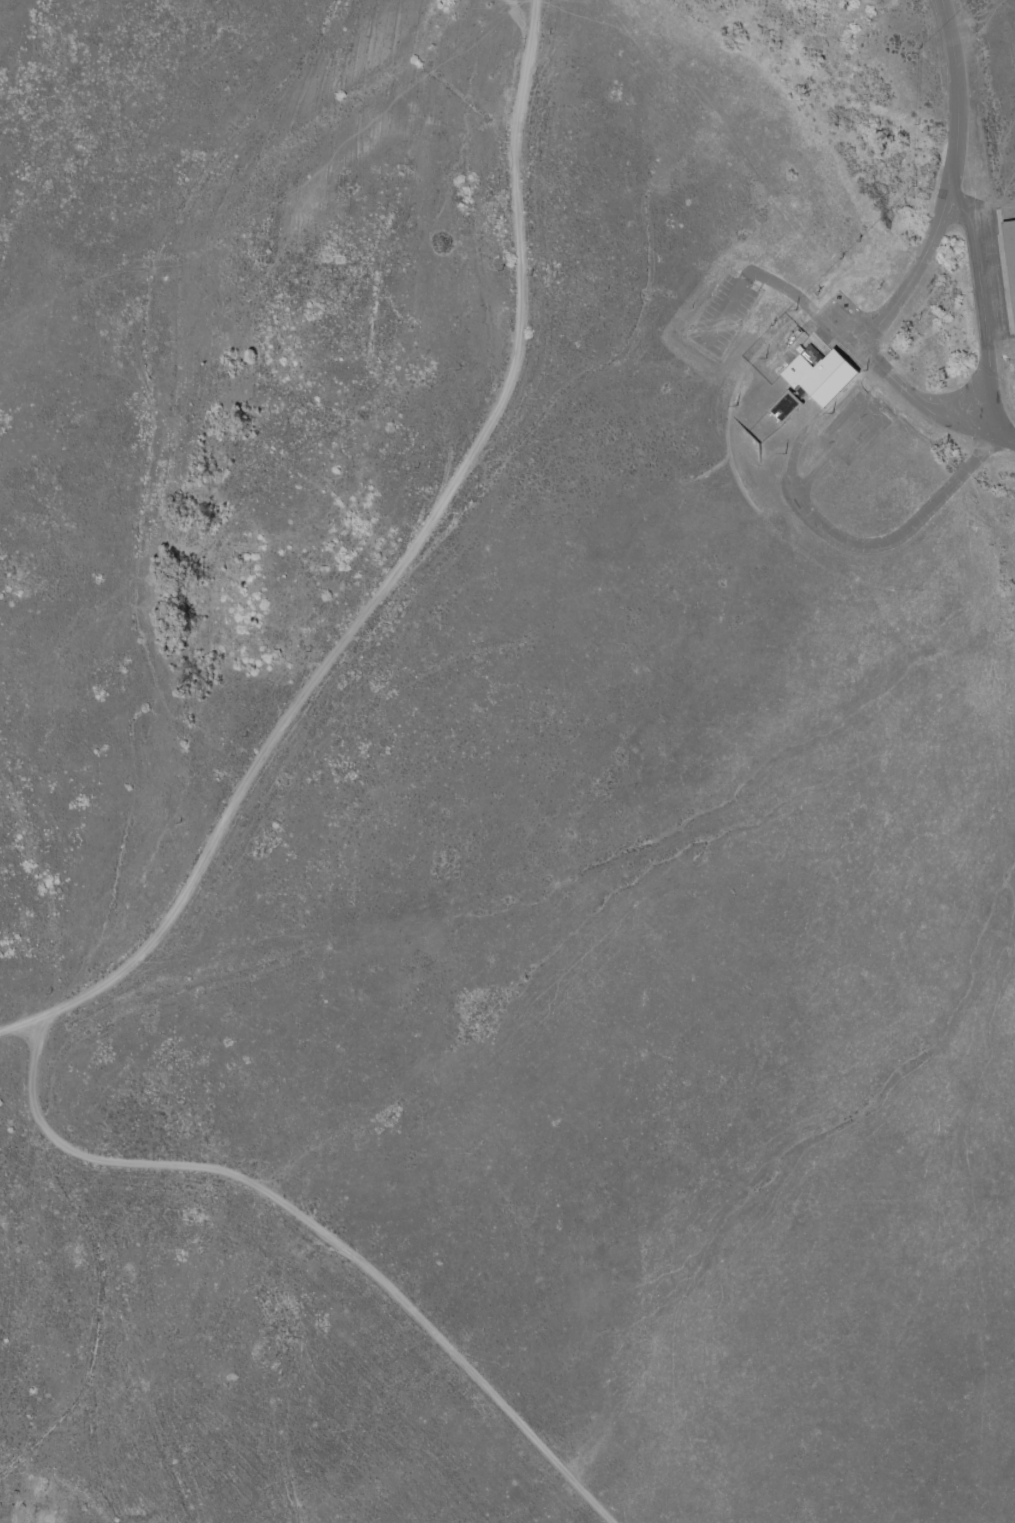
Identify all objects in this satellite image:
building: (1009, 262)
road: (923, 268)
road: (807, 305)
road: (726, 310)
road: (985, 311)
parking lot: (723, 315)
building: (819, 374)
building: (783, 406)
road: (830, 451)
road: (875, 547)

